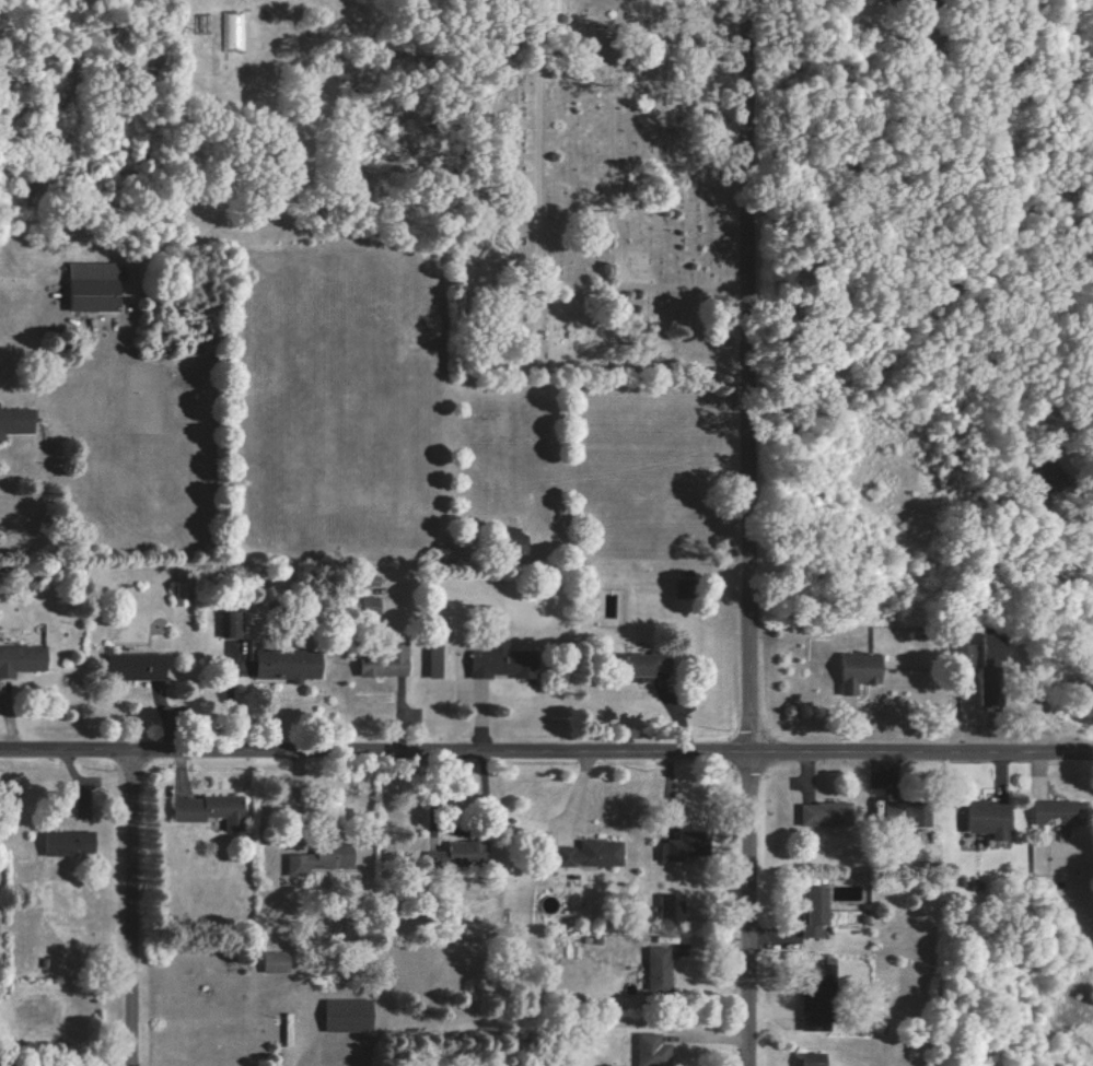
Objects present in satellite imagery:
building: (884, 0)
building: (234, 32)
park: (613, 187)
building: (89, 288)
building: (13, 422)
road: (751, 532)
building: (505, 542)
building: (363, 608)
building: (229, 626)
building: (993, 651)
building: (966, 658)
building: (434, 659)
building: (19, 660)
building: (496, 664)
building: (380, 665)
building: (129, 667)
building: (282, 667)
building: (630, 668)
building: (853, 672)
road: (546, 753)
building: (205, 811)
building: (1055, 813)
building: (822, 816)
building: (902, 817)
building: (986, 820)
building: (62, 844)
building: (453, 855)
building: (588, 855)
building: (317, 859)
road: (133, 909)
building: (666, 910)
building: (812, 912)
building: (269, 963)
building: (654, 971)
building: (817, 977)
building: (342, 1017)
building: (649, 1051)
building: (806, 1059)

